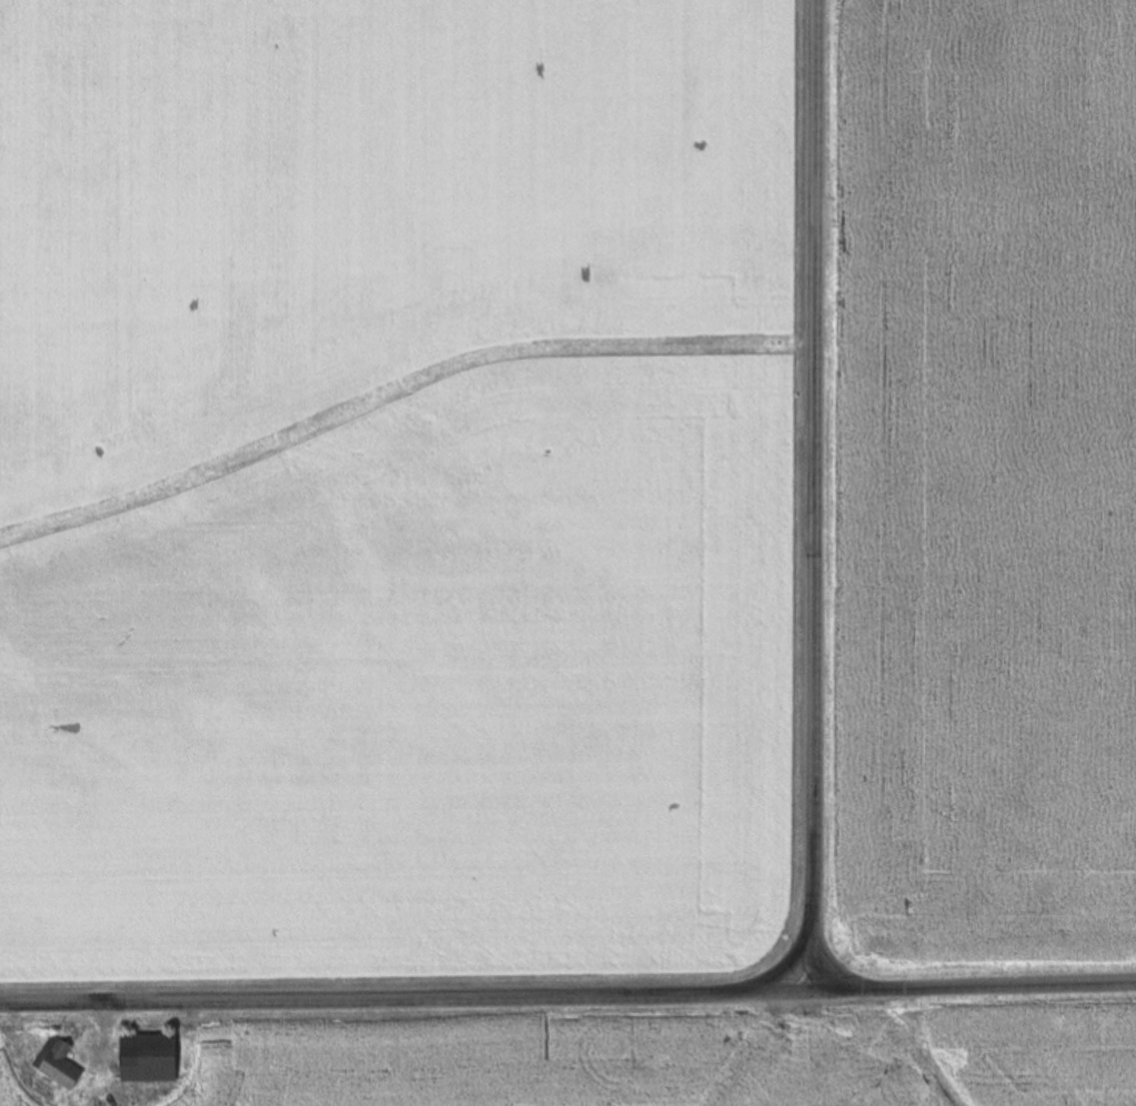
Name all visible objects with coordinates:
road: (816, 495)
road: (567, 994)
building: (149, 1058)
building: (59, 1063)

